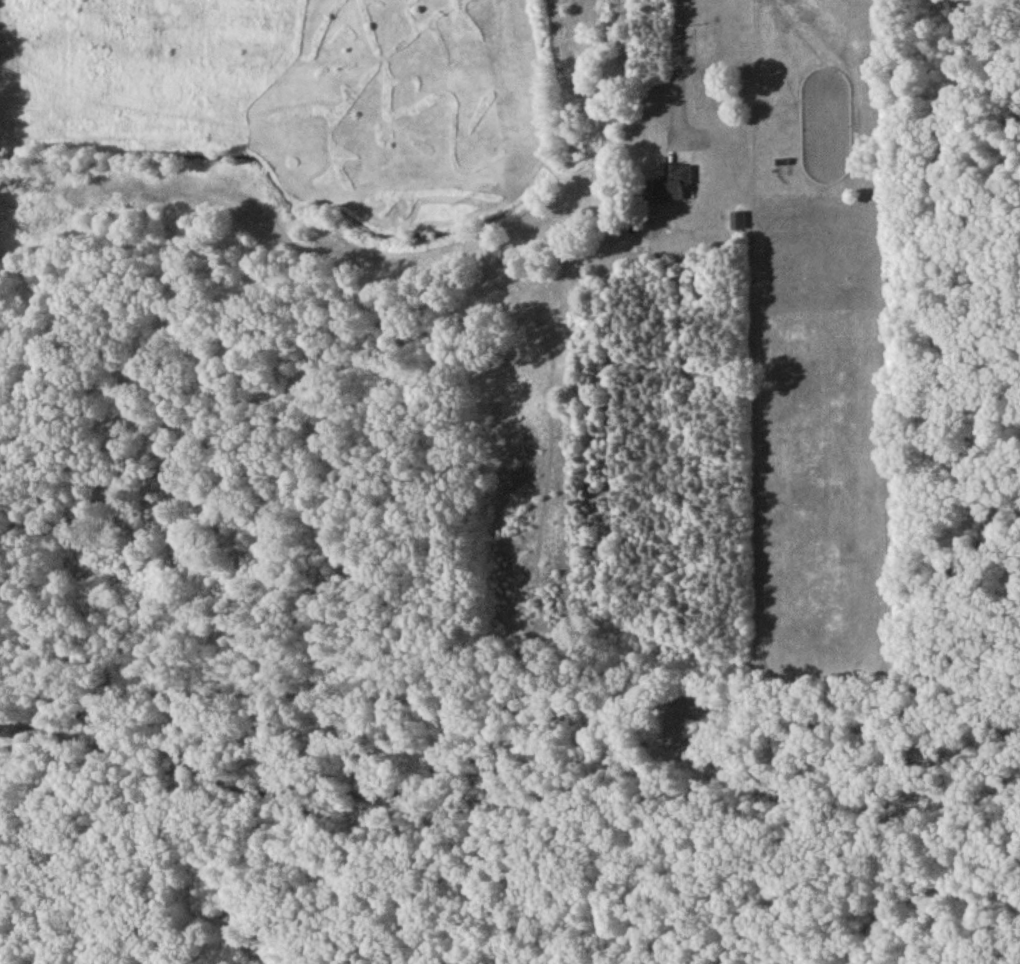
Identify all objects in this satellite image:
road: (682, 65)
building: (670, 186)

